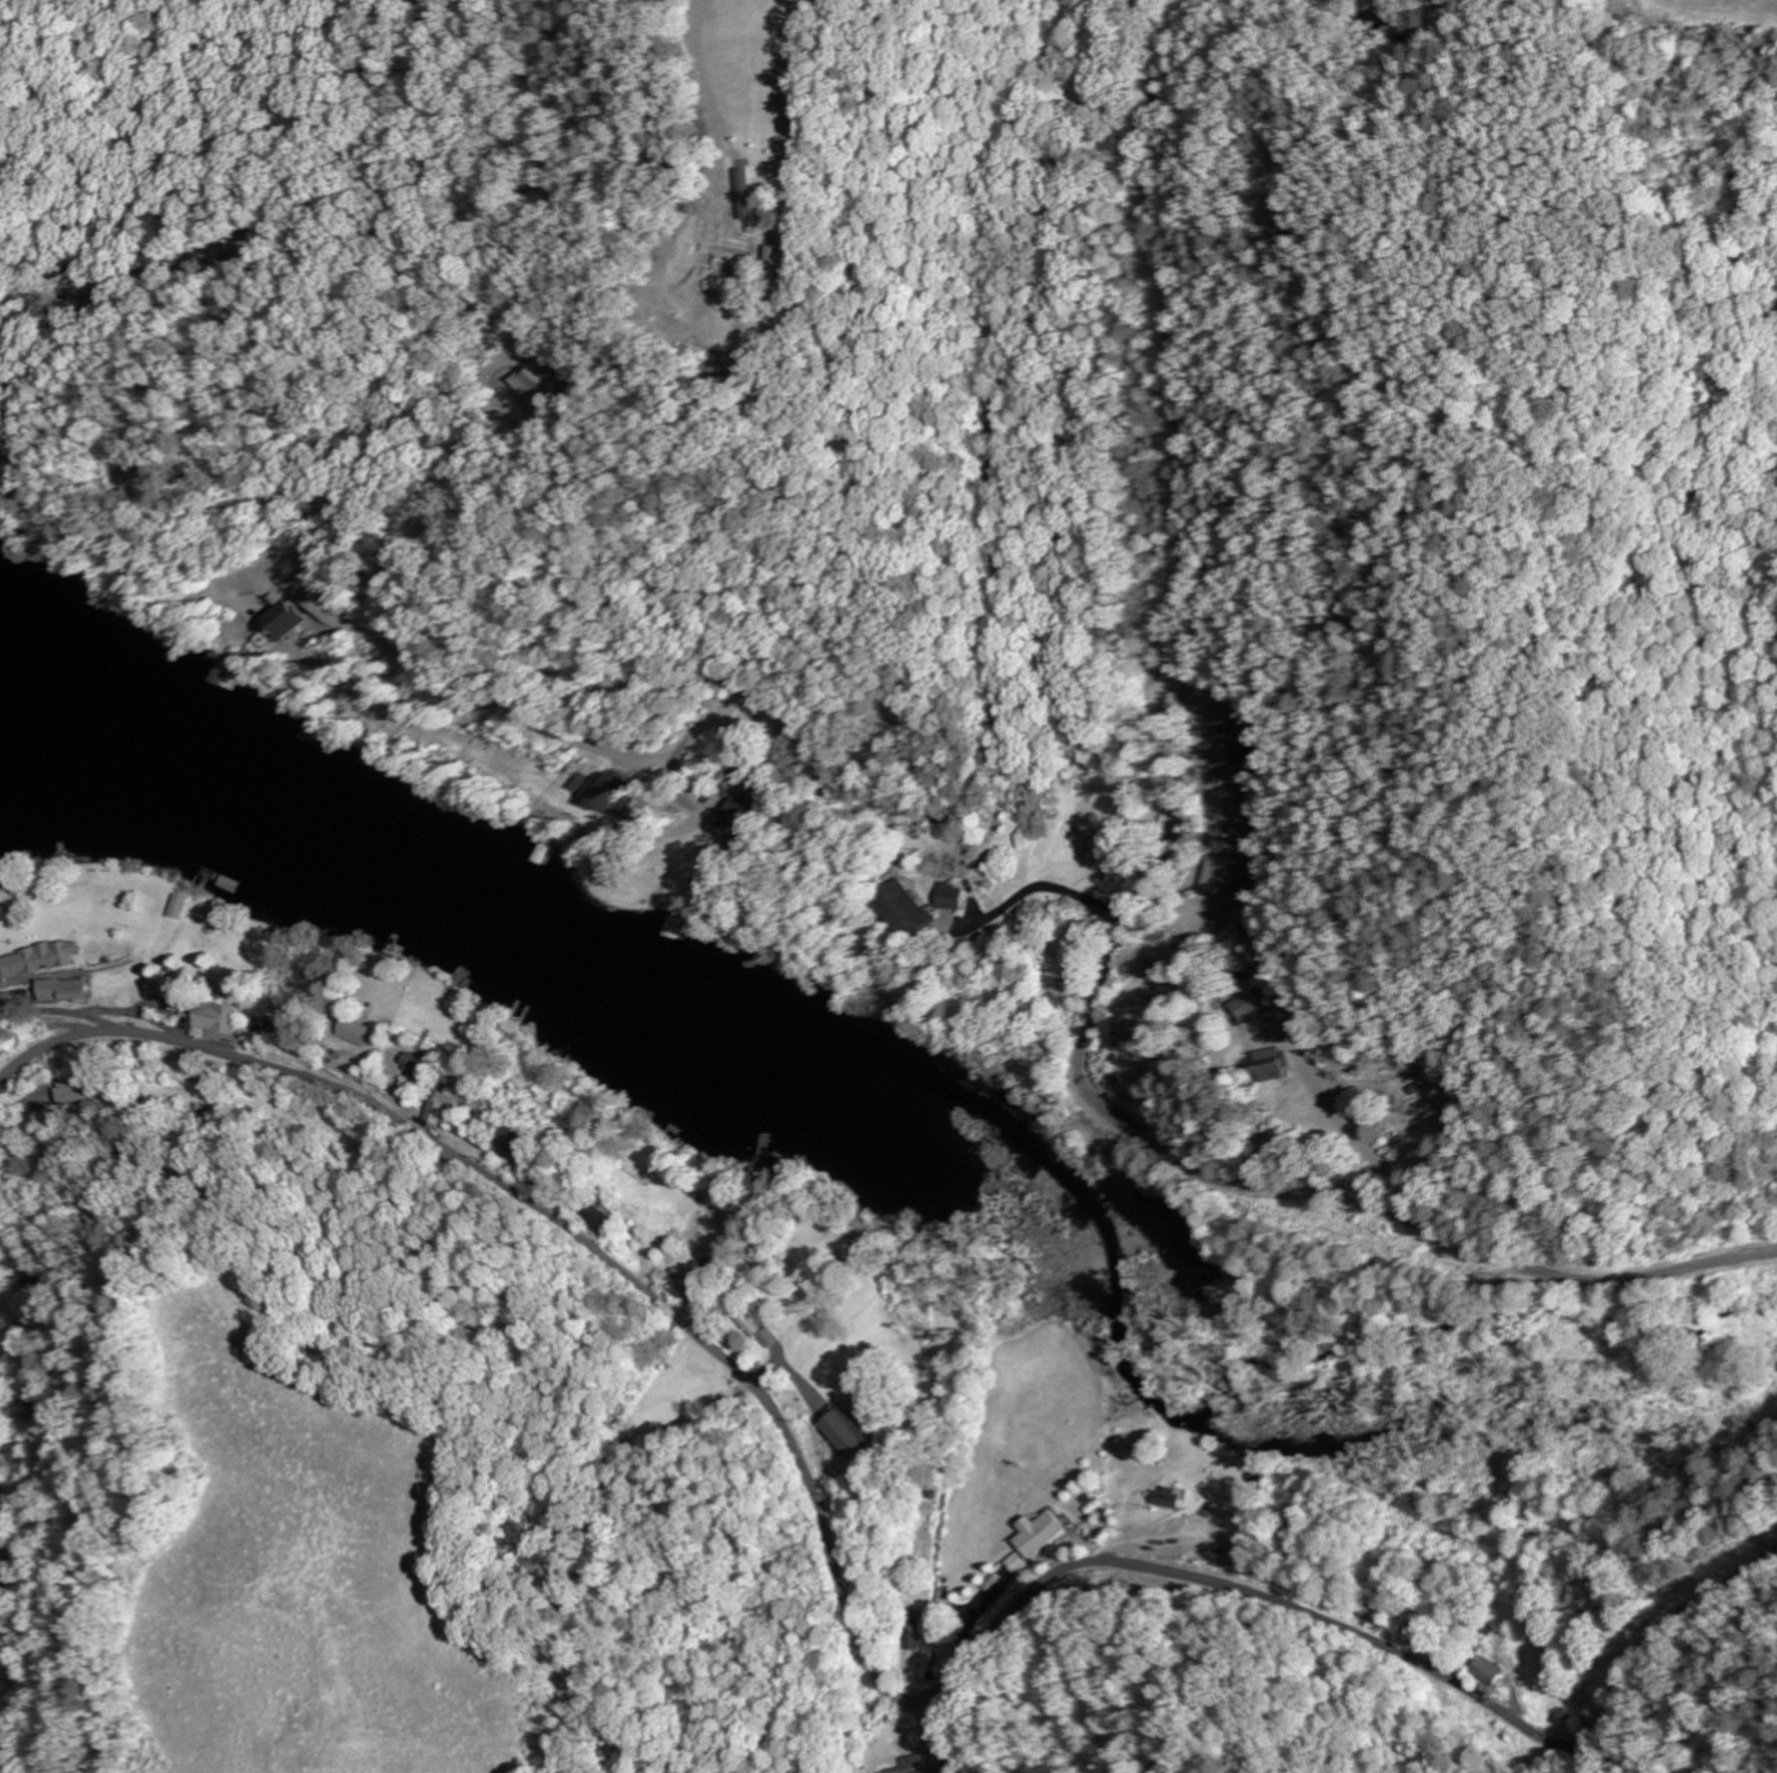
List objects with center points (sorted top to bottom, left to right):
building: (532, 381)
road: (997, 403)
building: (287, 620)
building: (602, 790)
building: (743, 815)
building: (1229, 876)
building: (951, 897)
building: (188, 906)
road: (1143, 910)
building: (910, 915)
building: (51, 959)
building: (80, 990)
building: (1253, 1004)
building: (234, 1019)
building: (1275, 1060)
building: (432, 1068)
building: (93, 1094)
building: (457, 1108)
building: (527, 1144)
building: (862, 1435)
building: (1172, 1497)
building: (1042, 1533)
building: (1025, 1564)
road: (848, 1591)
road: (17, 1631)
building: (917, 1632)
building: (1492, 1669)
building: (929, 1765)

